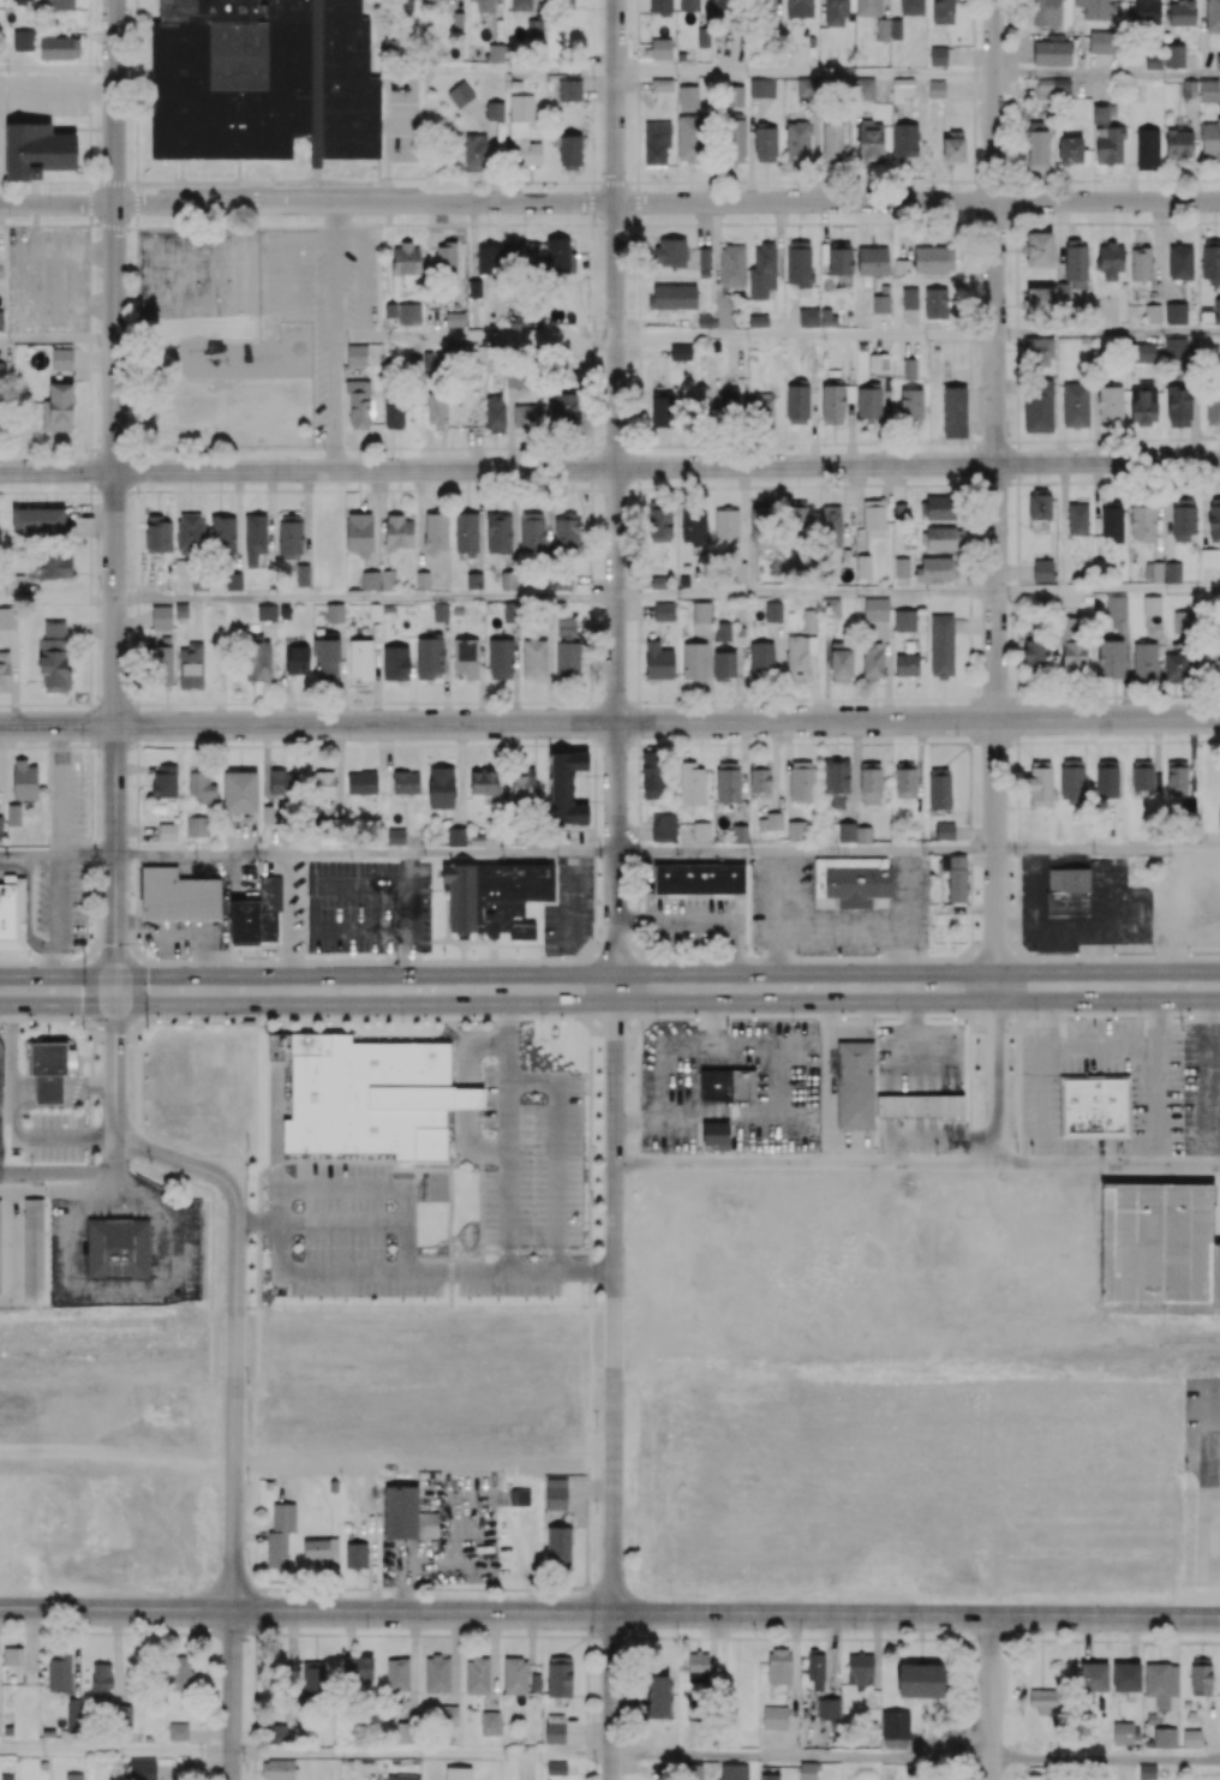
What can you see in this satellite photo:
building: (660, 48)
building: (937, 55)
building: (680, 56)
building: (1173, 56)
building: (1218, 61)
road: (58, 70)
road: (805, 73)
road: (1107, 77)
building: (660, 84)
building: (863, 88)
building: (934, 88)
building: (569, 90)
road: (58, 94)
building: (460, 94)
building: (494, 109)
building: (656, 142)
building: (1146, 149)
building: (36, 153)
road: (610, 203)
road: (334, 221)
road: (288, 251)
building: (871, 261)
building: (1140, 263)
building: (731, 265)
road: (363, 270)
building: (908, 298)
building: (1216, 311)
building: (1152, 312)
building: (1174, 313)
building: (1206, 313)
building: (826, 318)
building: (1, 319)
building: (756, 321)
road: (358, 333)
road: (498, 333)
road: (806, 334)
road: (1107, 335)
road: (58, 340)
road: (333, 353)
building: (908, 369)
road: (610, 468)
road: (1107, 480)
road: (995, 492)
road: (617, 494)
road: (115, 495)
building: (1076, 519)
building: (1041, 571)
building: (1172, 572)
road: (1107, 592)
road: (806, 596)
road: (366, 599)
road: (58, 601)
building: (1114, 605)
building: (1150, 605)
building: (831, 608)
building: (874, 609)
building: (662, 611)
building: (700, 613)
building: (903, 621)
building: (720, 632)
building: (360, 659)
building: (657, 662)
building: (394, 664)
building: (905, 665)
road: (1107, 694)
road: (610, 723)
building: (163, 781)
building: (569, 790)
building: (239, 794)
building: (12, 814)
building: (1219, 817)
building: (795, 830)
building: (944, 831)
road: (1107, 850)
road: (806, 852)
road: (58, 853)
road: (365, 853)
building: (1165, 874)
building: (956, 877)
building: (701, 882)
building: (854, 883)
road: (650, 888)
building: (1071, 895)
building: (178, 898)
building: (498, 898)
building: (271, 912)
building: (13, 915)
road: (708, 921)
building: (246, 924)
road: (186, 928)
street lamp: (1092, 952)
street lamp: (955, 954)
street lamp: (835, 955)
street lamp: (432, 956)
street lamp: (576, 956)
street lamp: (707, 956)
street lamp: (2, 957)
street lamp: (152, 958)
street lamp: (279, 960)
road: (738, 987)
road: (58, 990)
traffic signals: (115, 990)
road: (186, 990)
street lamp: (1027, 1015)
street lamp: (1174, 1016)
street lamp: (893, 1017)
street lamp: (216, 1019)
street lamp: (483, 1020)
street lamp: (650, 1020)
street lamp: (772, 1020)
street lamp: (70, 1022)
street lamp: (359, 1022)
road: (844, 1029)
building: (50, 1059)
road: (674, 1063)
road: (995, 1075)
building: (729, 1087)
building: (49, 1088)
building: (857, 1088)
road: (827, 1097)
building: (371, 1098)
building: (921, 1109)
building: (1095, 1109)
building: (719, 1136)
road: (560, 1152)
road: (805, 1164)
road: (1107, 1164)
road: (71, 1173)
road: (382, 1187)
parking lot: (532, 1187)
road: (450, 1219)
road: (318, 1221)
building: (1159, 1243)
building: (119, 1249)
road: (536, 1252)
building: (35, 1253)
building: (0, 1254)
road: (235, 1261)
road: (346, 1272)
building: (1218, 1279)
road: (616, 1301)
road: (116, 1609)
road: (726, 1614)
road: (232, 1695)
road: (612, 1697)
road: (991, 1698)
road: (115, 1750)
road: (421, 1752)
road: (801, 1757)
road: (1105, 1760)

